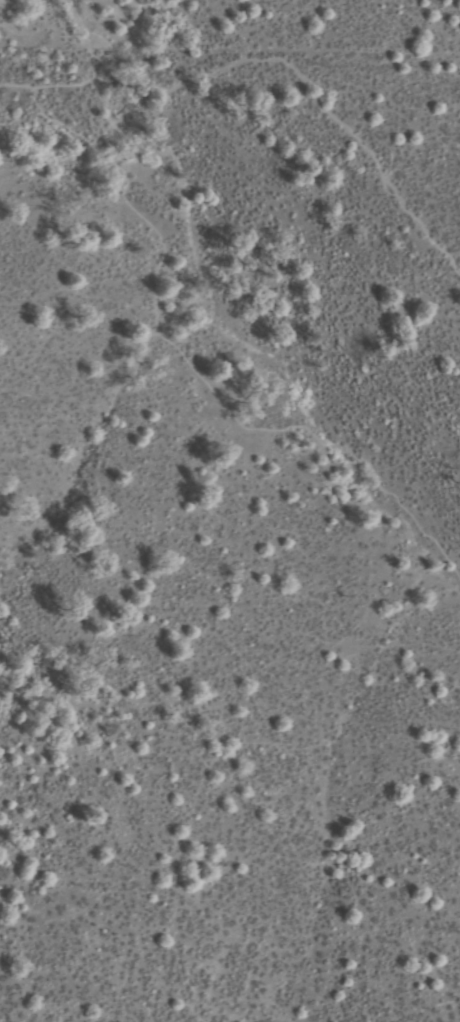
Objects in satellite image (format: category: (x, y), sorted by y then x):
road: (278, 63)

